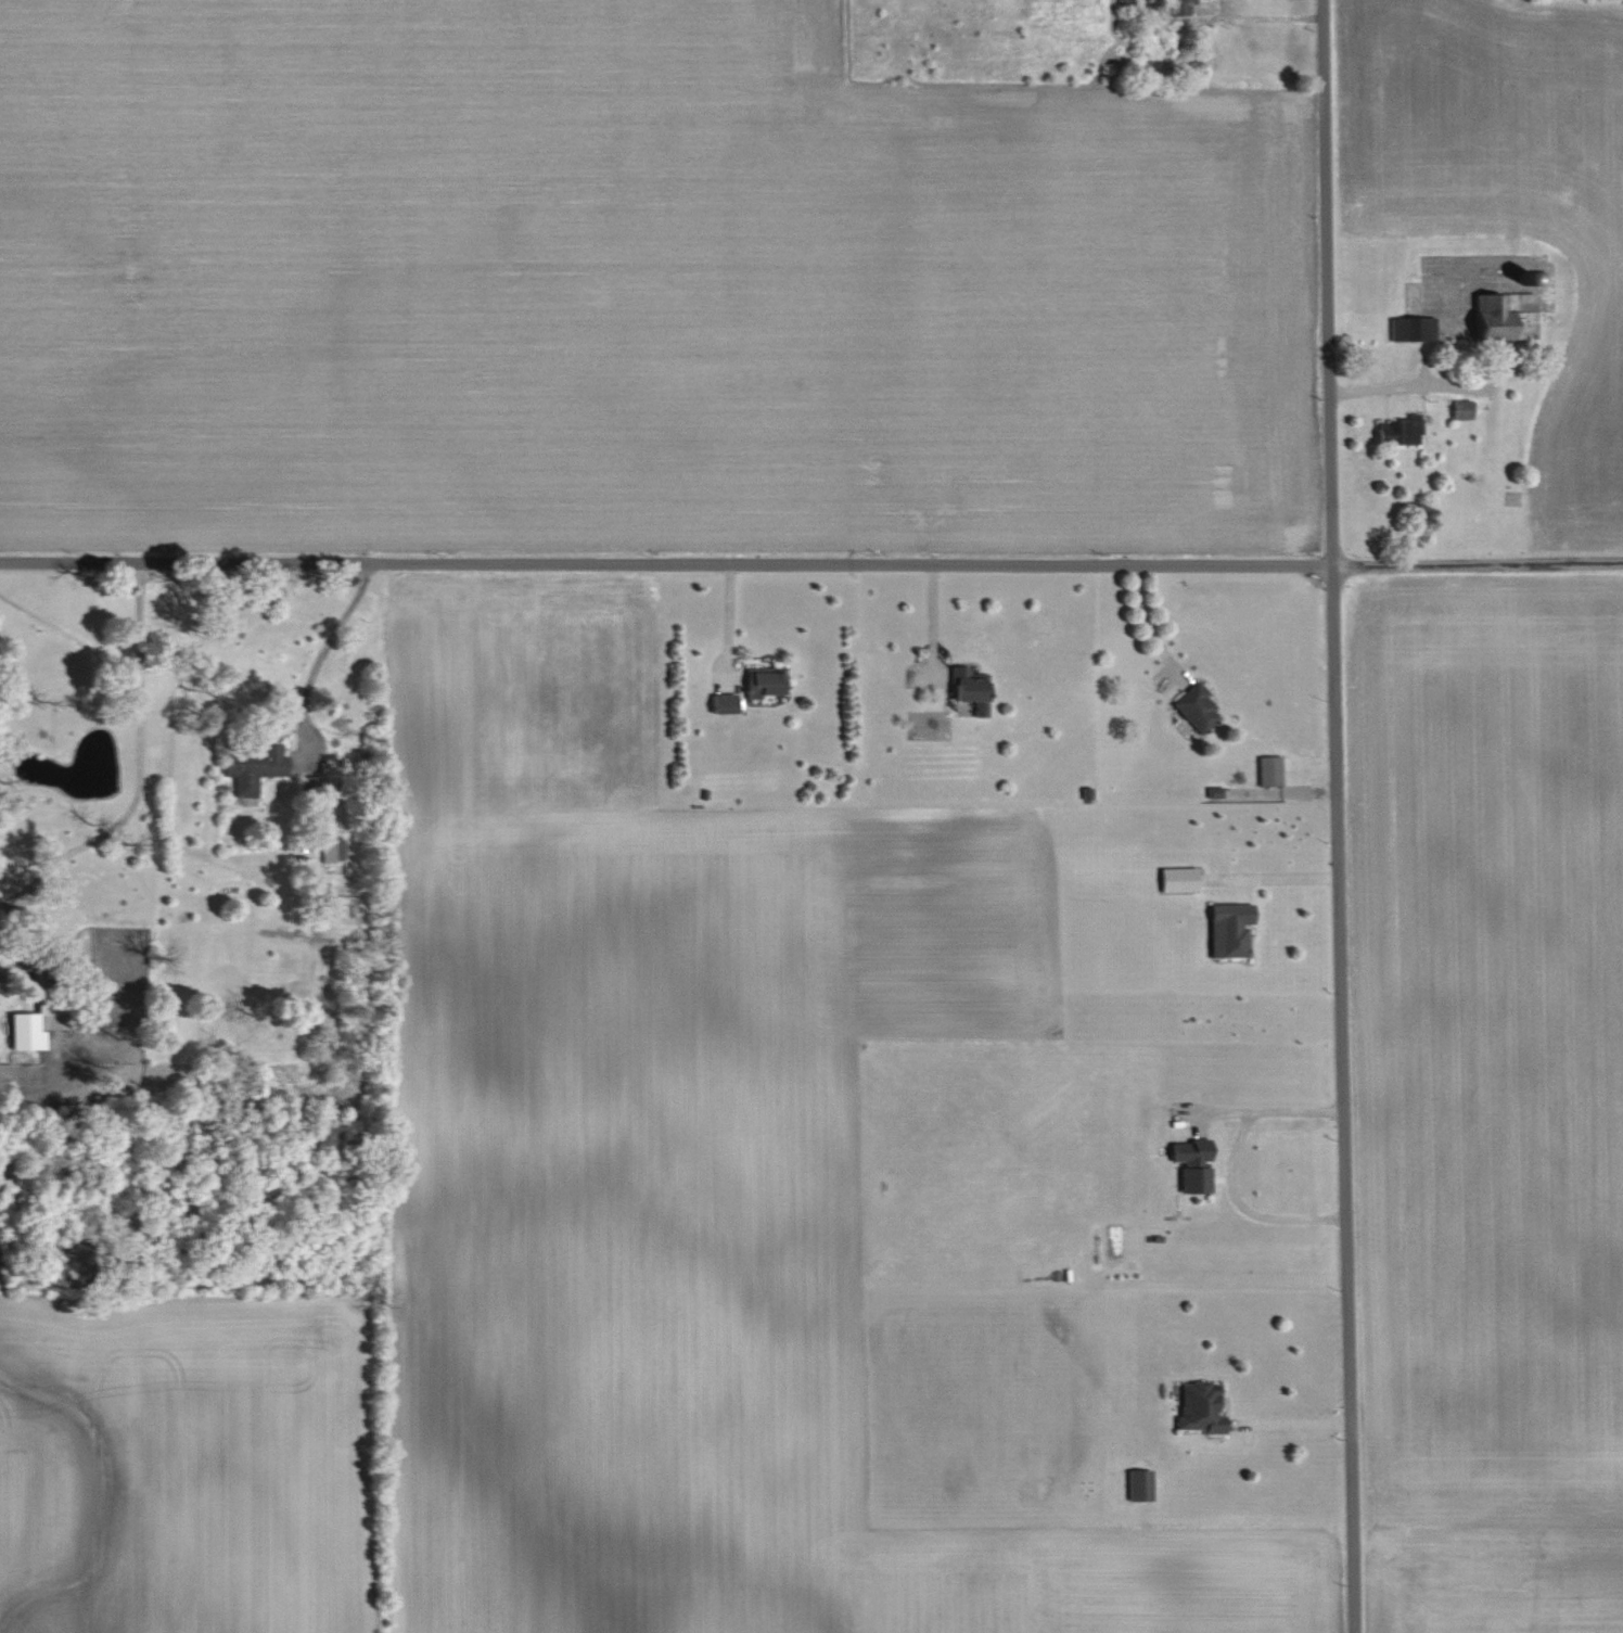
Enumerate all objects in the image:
building: (1128, 4)
building: (1181, 8)
road: (1263, 15)
building: (1507, 317)
building: (1415, 330)
road: (1382, 385)
building: (1464, 411)
building: (1400, 433)
road: (811, 565)
road: (727, 623)
road: (931, 623)
road: (1147, 627)
road: (320, 661)
building: (765, 685)
building: (970, 694)
building: (725, 704)
building: (1200, 710)
road: (138, 762)
building: (253, 767)
road: (1339, 816)
building: (334, 856)
road: (1285, 873)
building: (1180, 881)
building: (1234, 930)
building: (55, 1012)
road: (1230, 1164)
building: (1193, 1166)
building: (1200, 1407)
road: (1294, 1419)
building: (1140, 1484)

